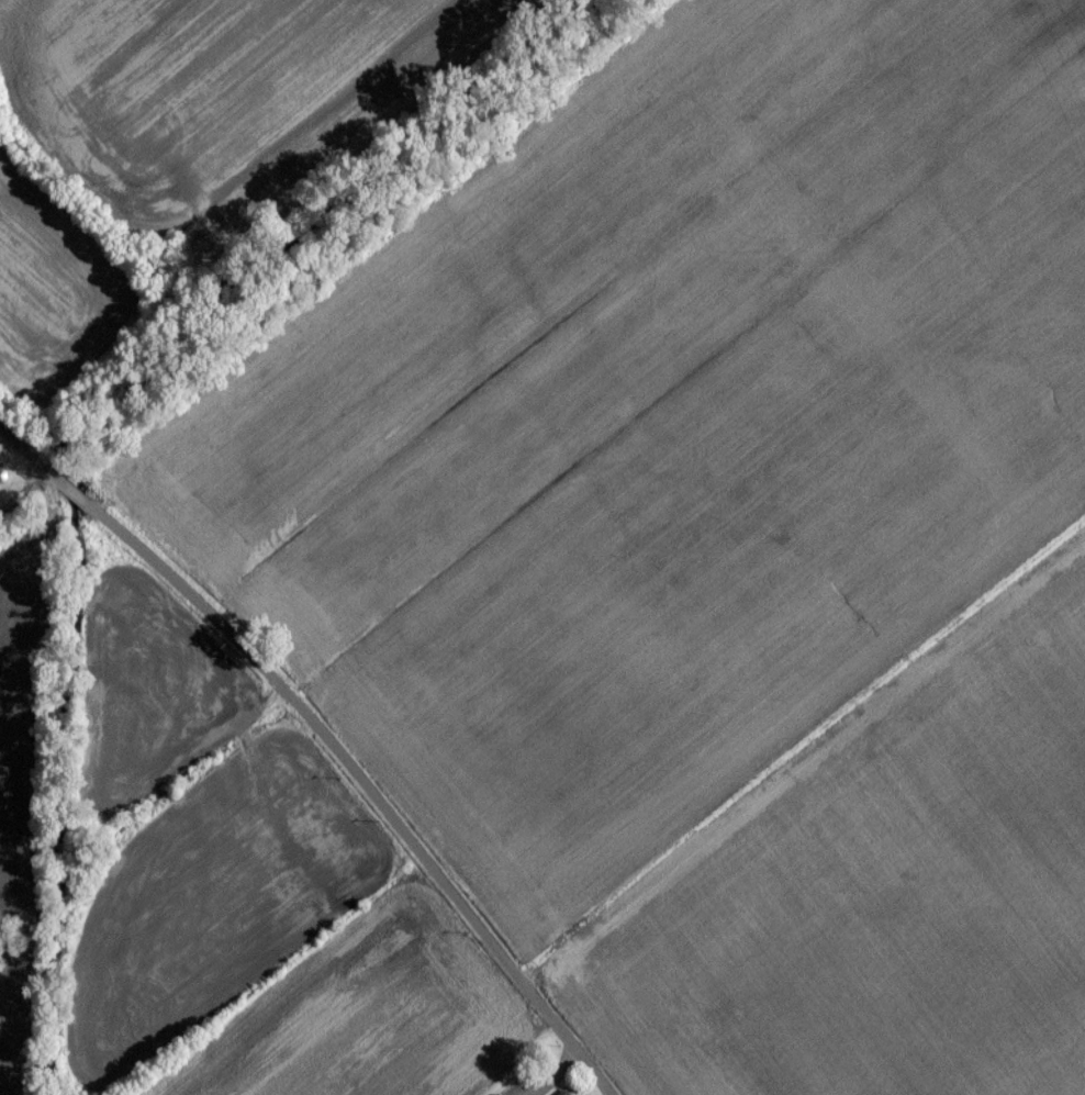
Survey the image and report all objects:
road: (316, 746)

